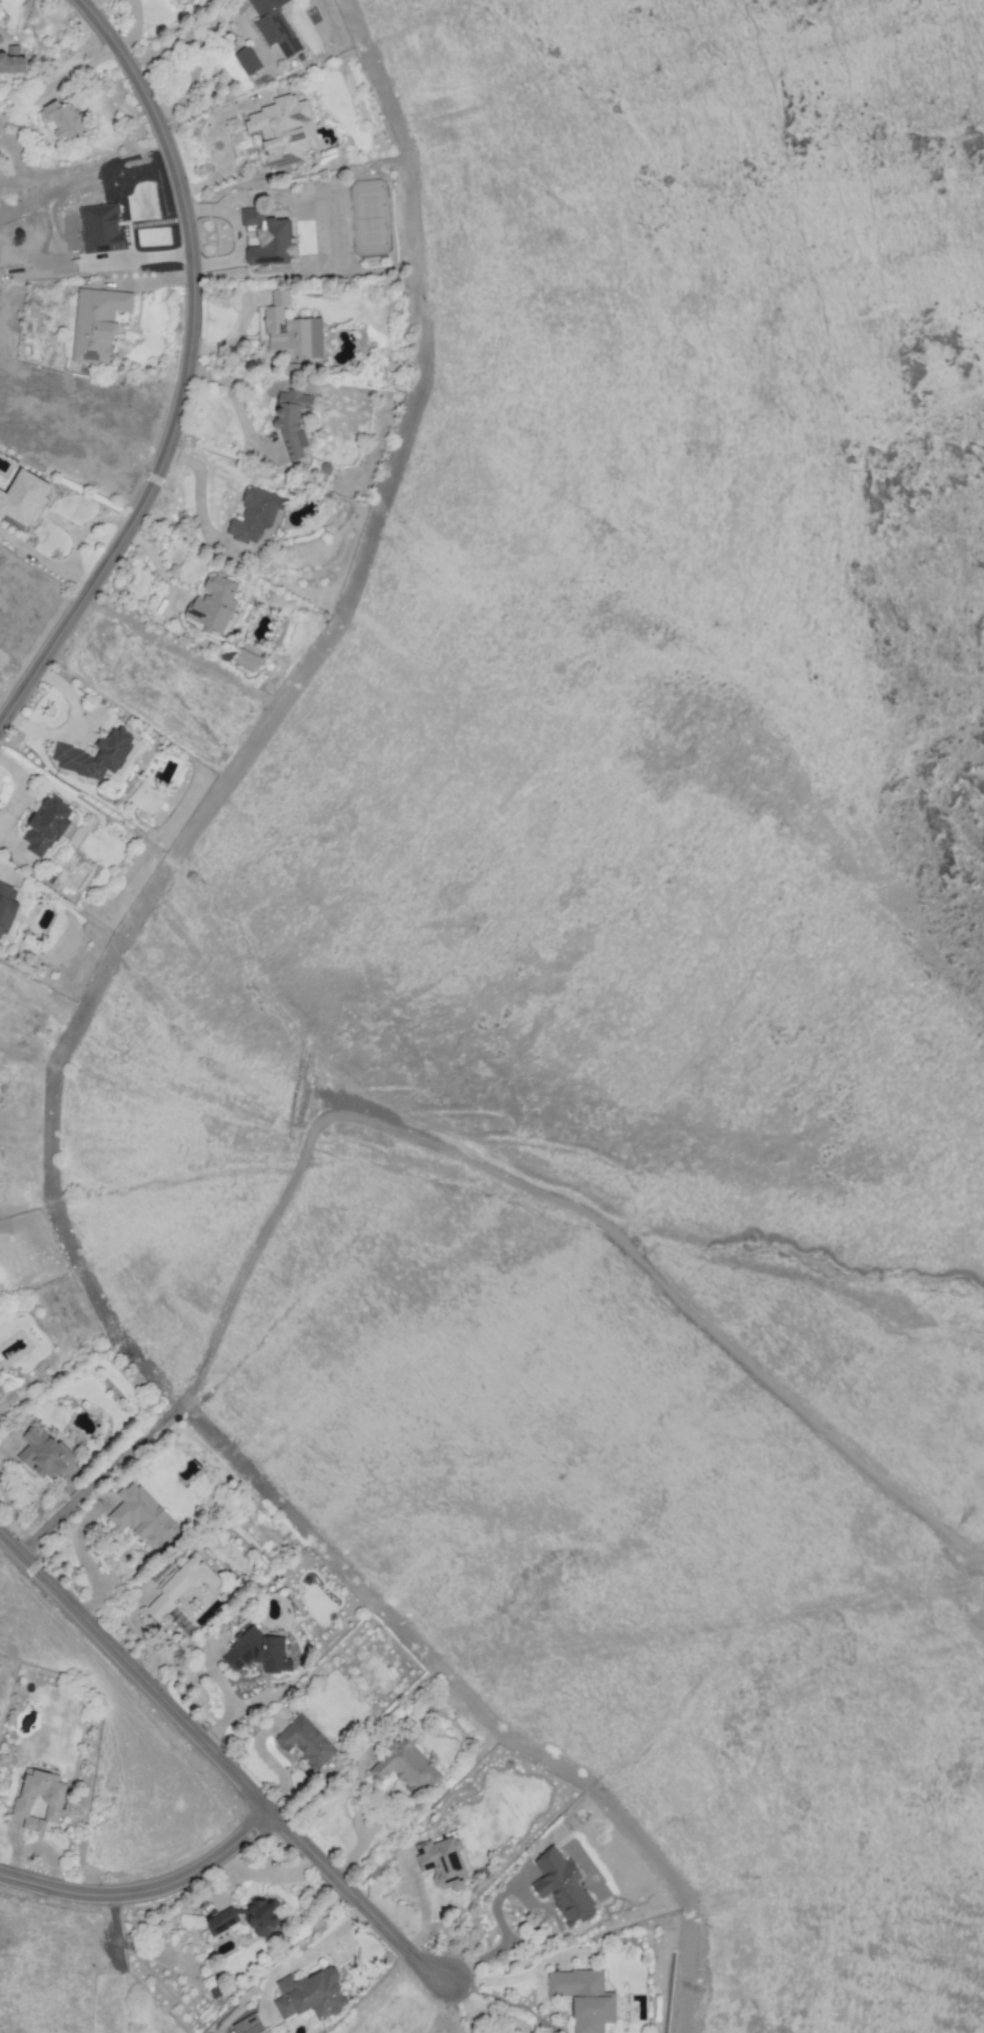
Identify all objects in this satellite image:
building: (187, 0)
building: (275, 26)
building: (1, 38)
building: (13, 60)
road: (195, 60)
building: (249, 60)
building: (63, 118)
building: (282, 129)
building: (102, 229)
building: (269, 238)
building: (98, 323)
building: (292, 331)
road: (183, 369)
building: (293, 421)
building: (24, 498)
building: (256, 515)
building: (214, 605)
building: (248, 660)
building: (70, 753)
building: (48, 825)
building: (7, 908)
building: (0, 1390)
building: (45, 1454)
building: (141, 1513)
road: (82, 1559)
building: (183, 1585)
building: (259, 1651)
road: (226, 1695)
building: (307, 1741)
road: (271, 1765)
building: (406, 1766)
road: (234, 1780)
building: (41, 1801)
building: (446, 1862)
building: (563, 1886)
road: (351, 1898)
building: (263, 1915)
building: (222, 1921)
road: (492, 1981)
road: (456, 1993)
building: (312, 1994)
building: (585, 1998)
road: (498, 2015)
road: (471, 2021)
building: (249, 2025)

